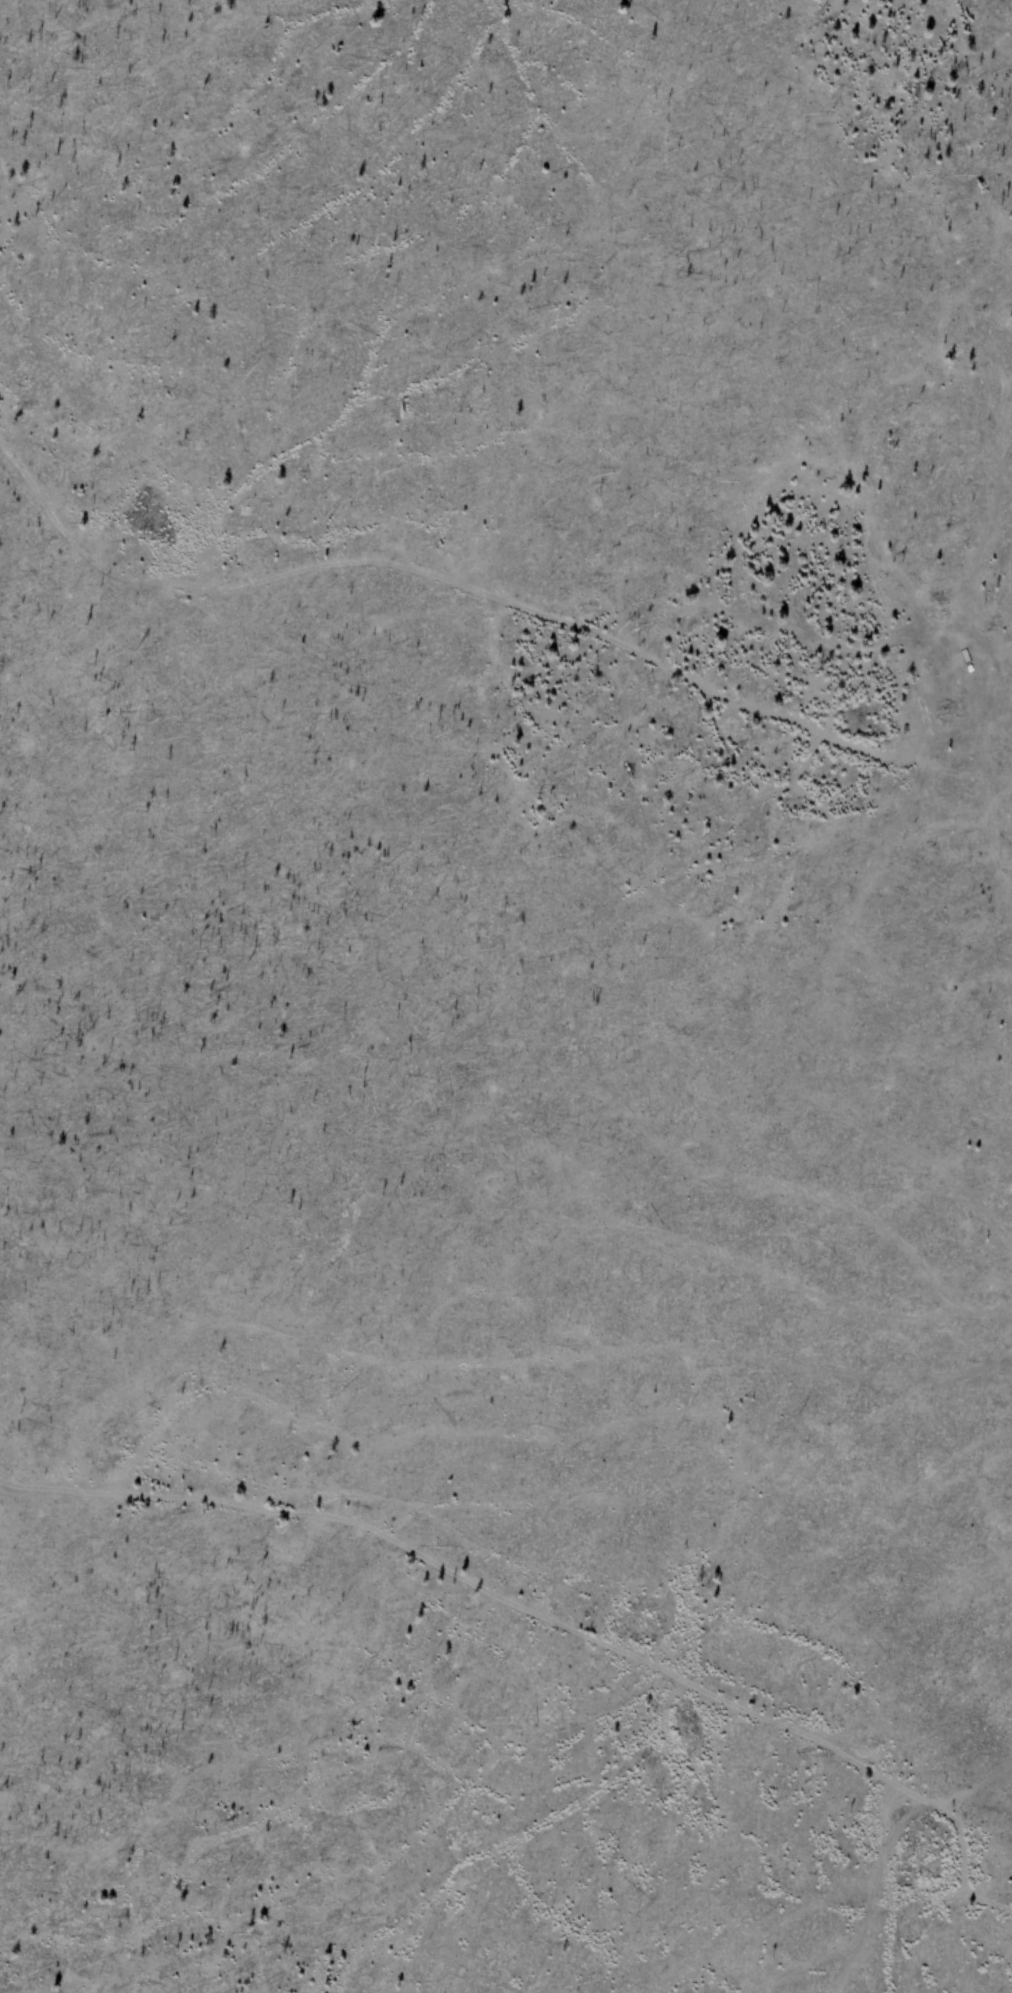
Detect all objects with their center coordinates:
road: (447, 583)
road: (732, 749)
road: (807, 760)
road: (895, 838)
road: (549, 1620)

